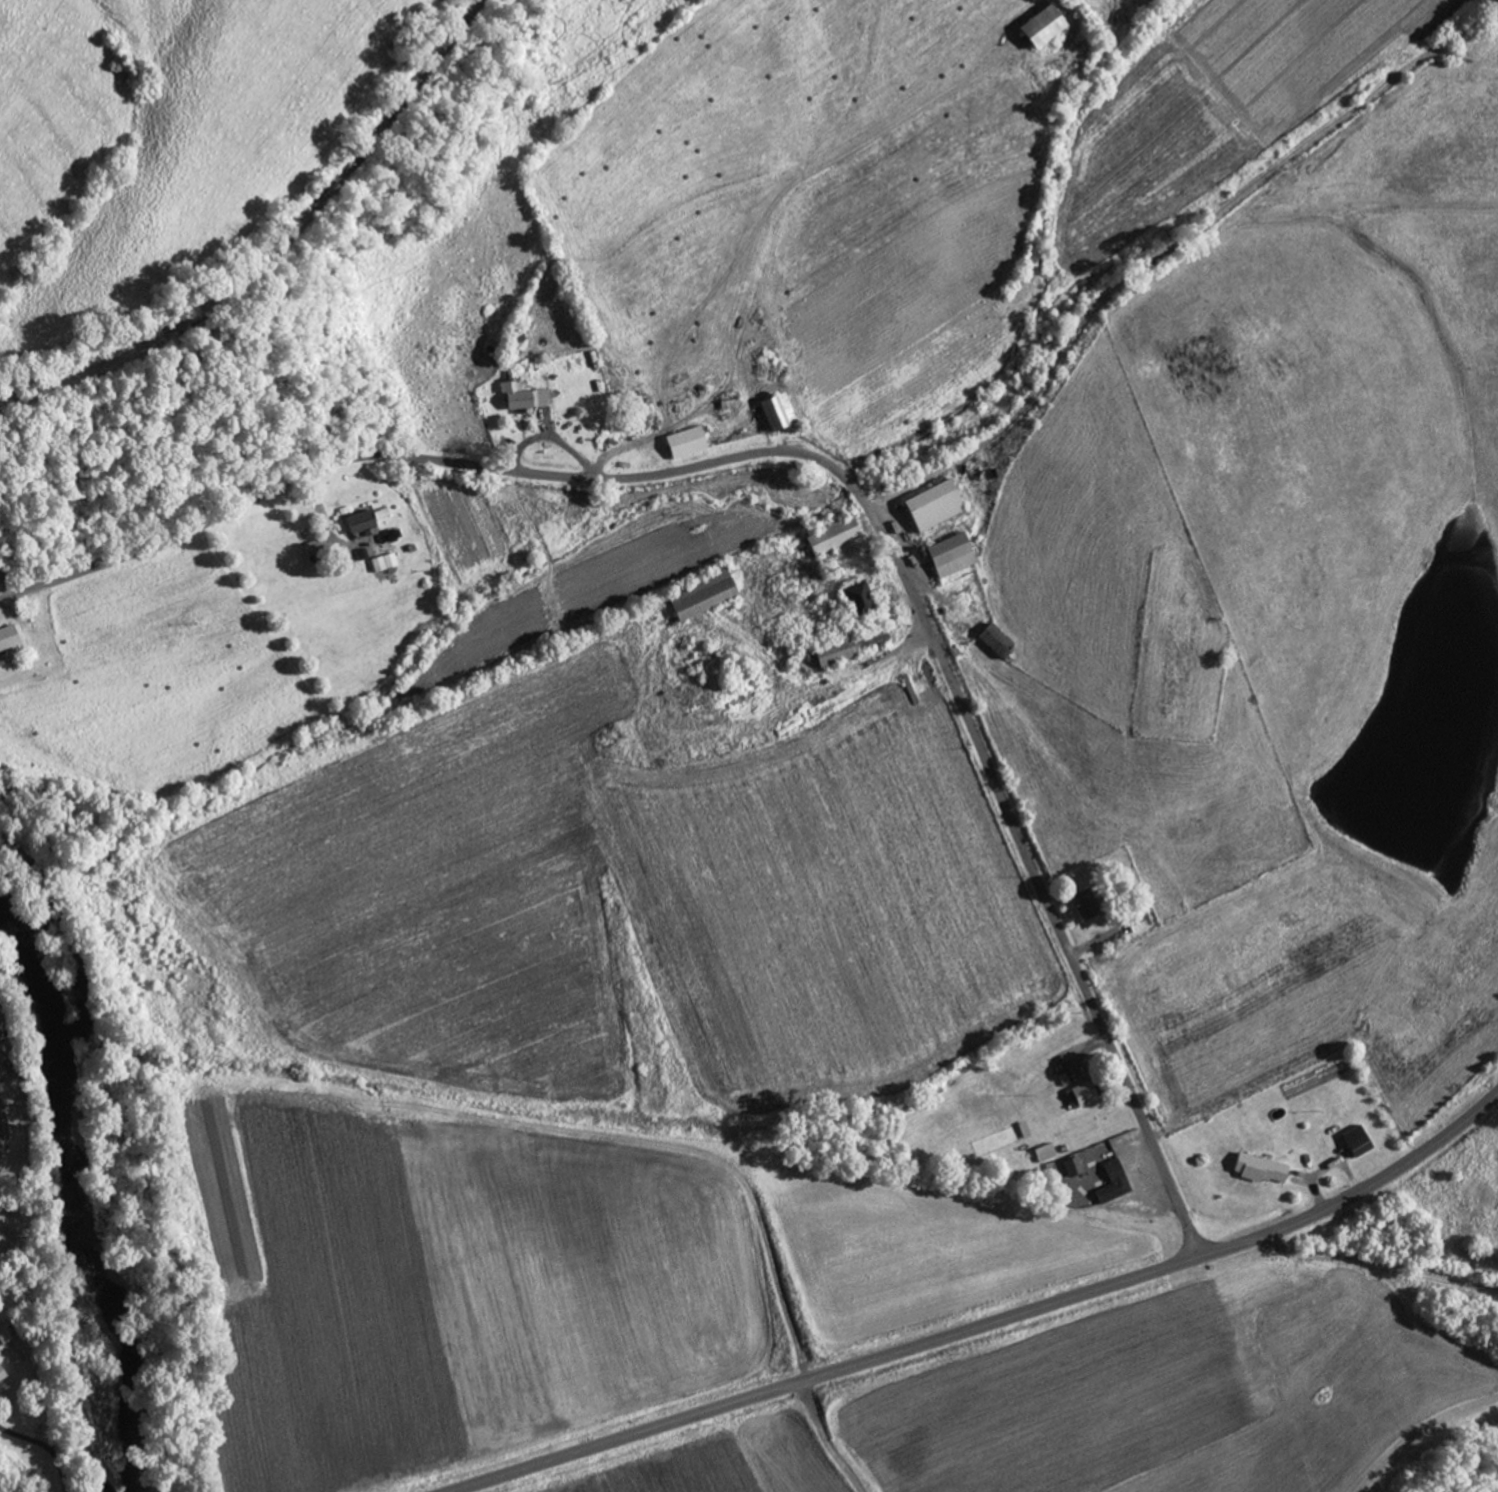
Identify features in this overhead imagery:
building: (1044, 25)
railway: (277, 249)
road: (1179, 291)
building: (525, 396)
building: (779, 411)
building: (687, 442)
road: (834, 470)
building: (935, 505)
building: (363, 524)
building: (835, 535)
building: (953, 555)
building: (703, 595)
building: (861, 600)
building: (9, 638)
building: (998, 640)
building: (854, 646)
building: (1180, 669)
building: (1141, 922)
building: (1083, 1095)
building: (1362, 1145)
road: (715, 1162)
building: (1075, 1165)
building: (1263, 1169)
building: (1115, 1183)
river: (69, 1195)
road: (1348, 1293)
road: (987, 1324)
building: (2, 1375)

